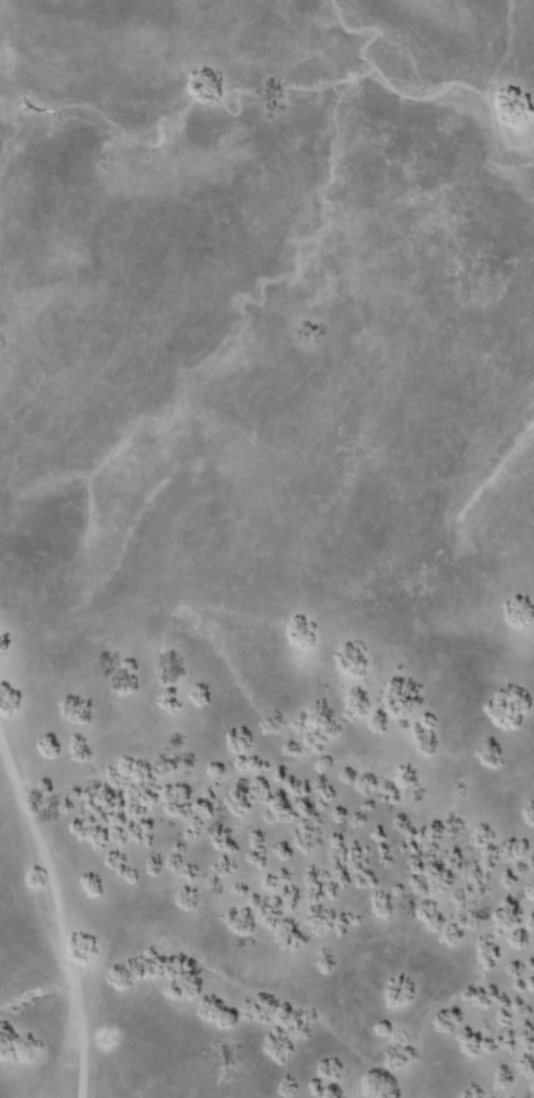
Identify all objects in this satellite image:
road: (59, 915)

